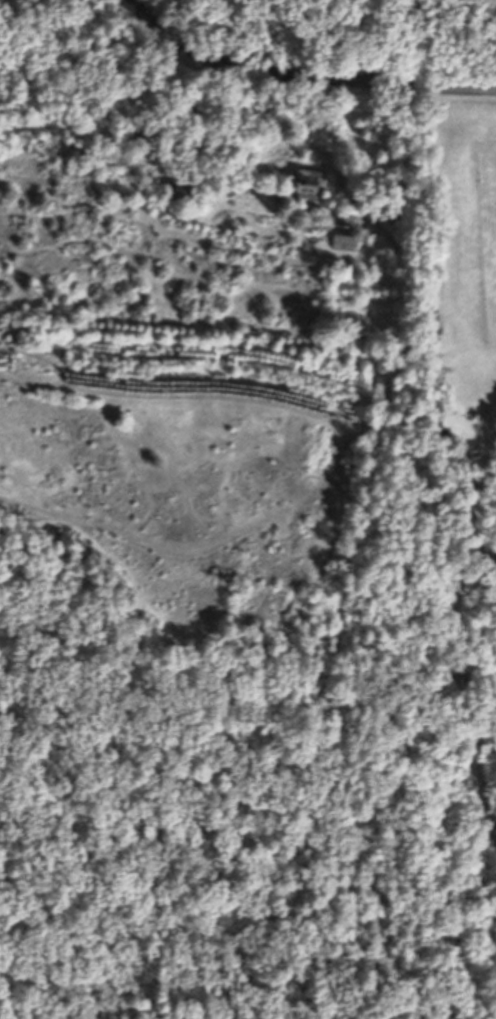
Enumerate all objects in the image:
road: (299, 76)
building: (310, 184)
building: (191, 191)
building: (397, 218)
building: (344, 241)

